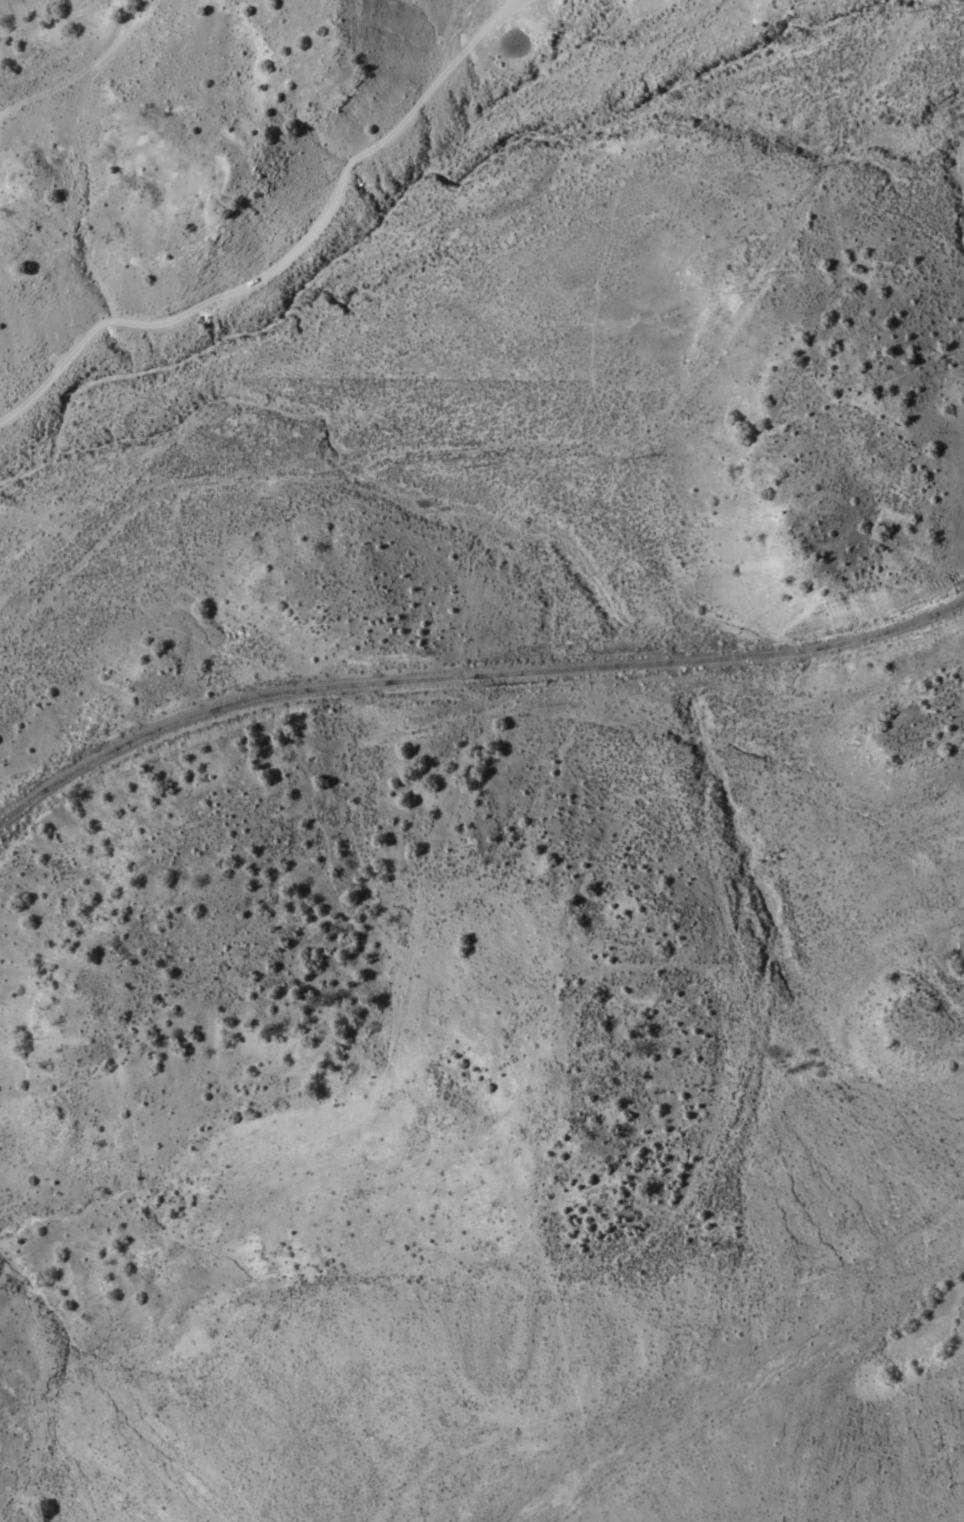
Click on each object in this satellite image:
road: (259, 249)
railway: (469, 676)

